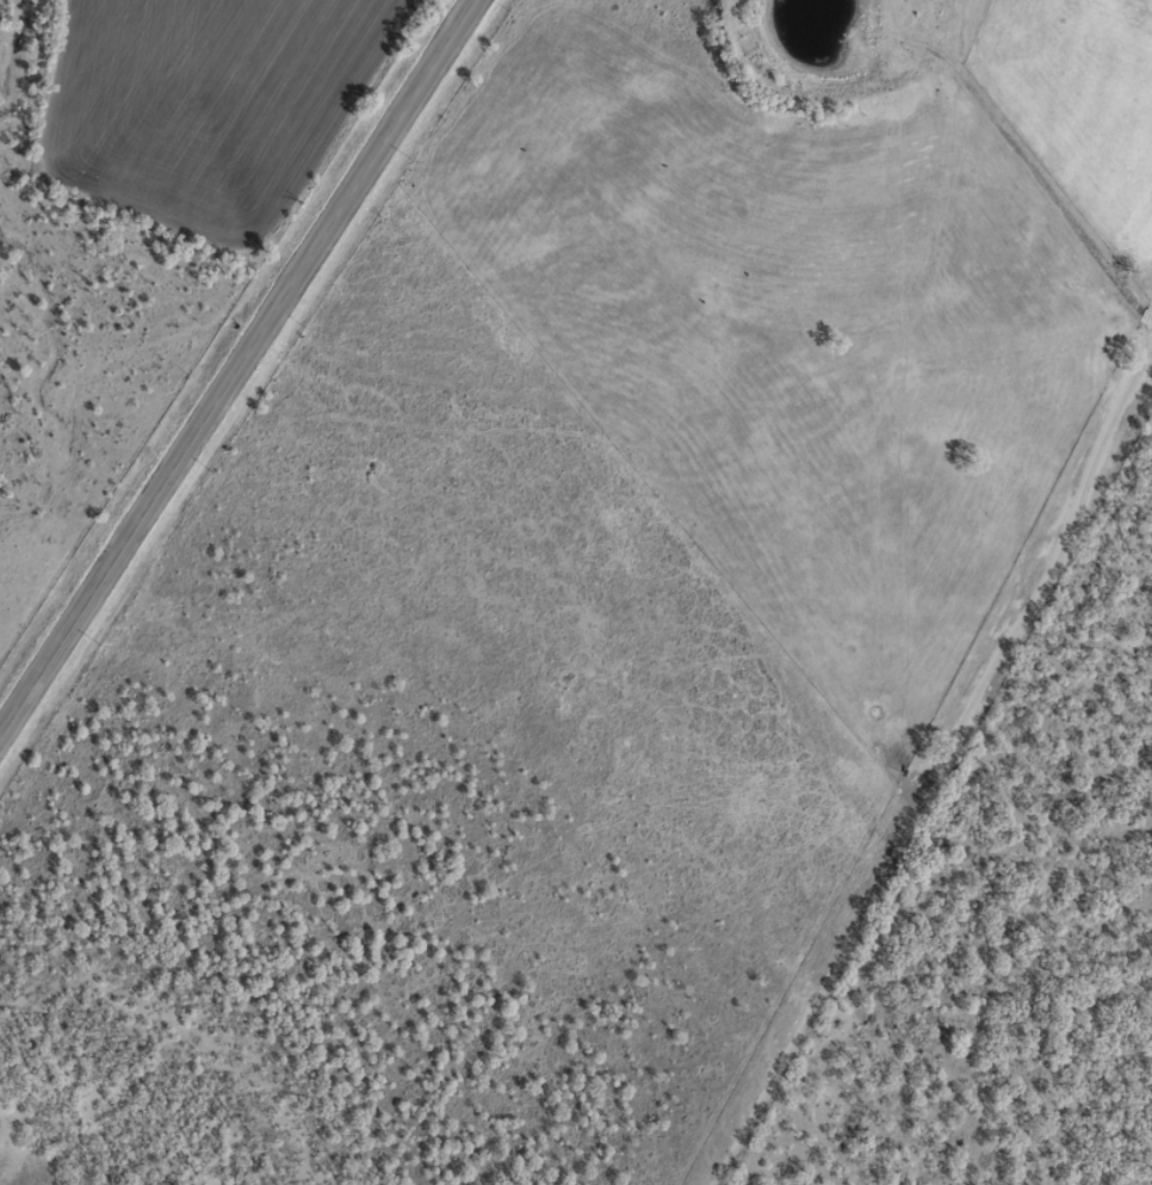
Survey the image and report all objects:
crop: (215, 101)
road: (550, 321)
road: (243, 372)

